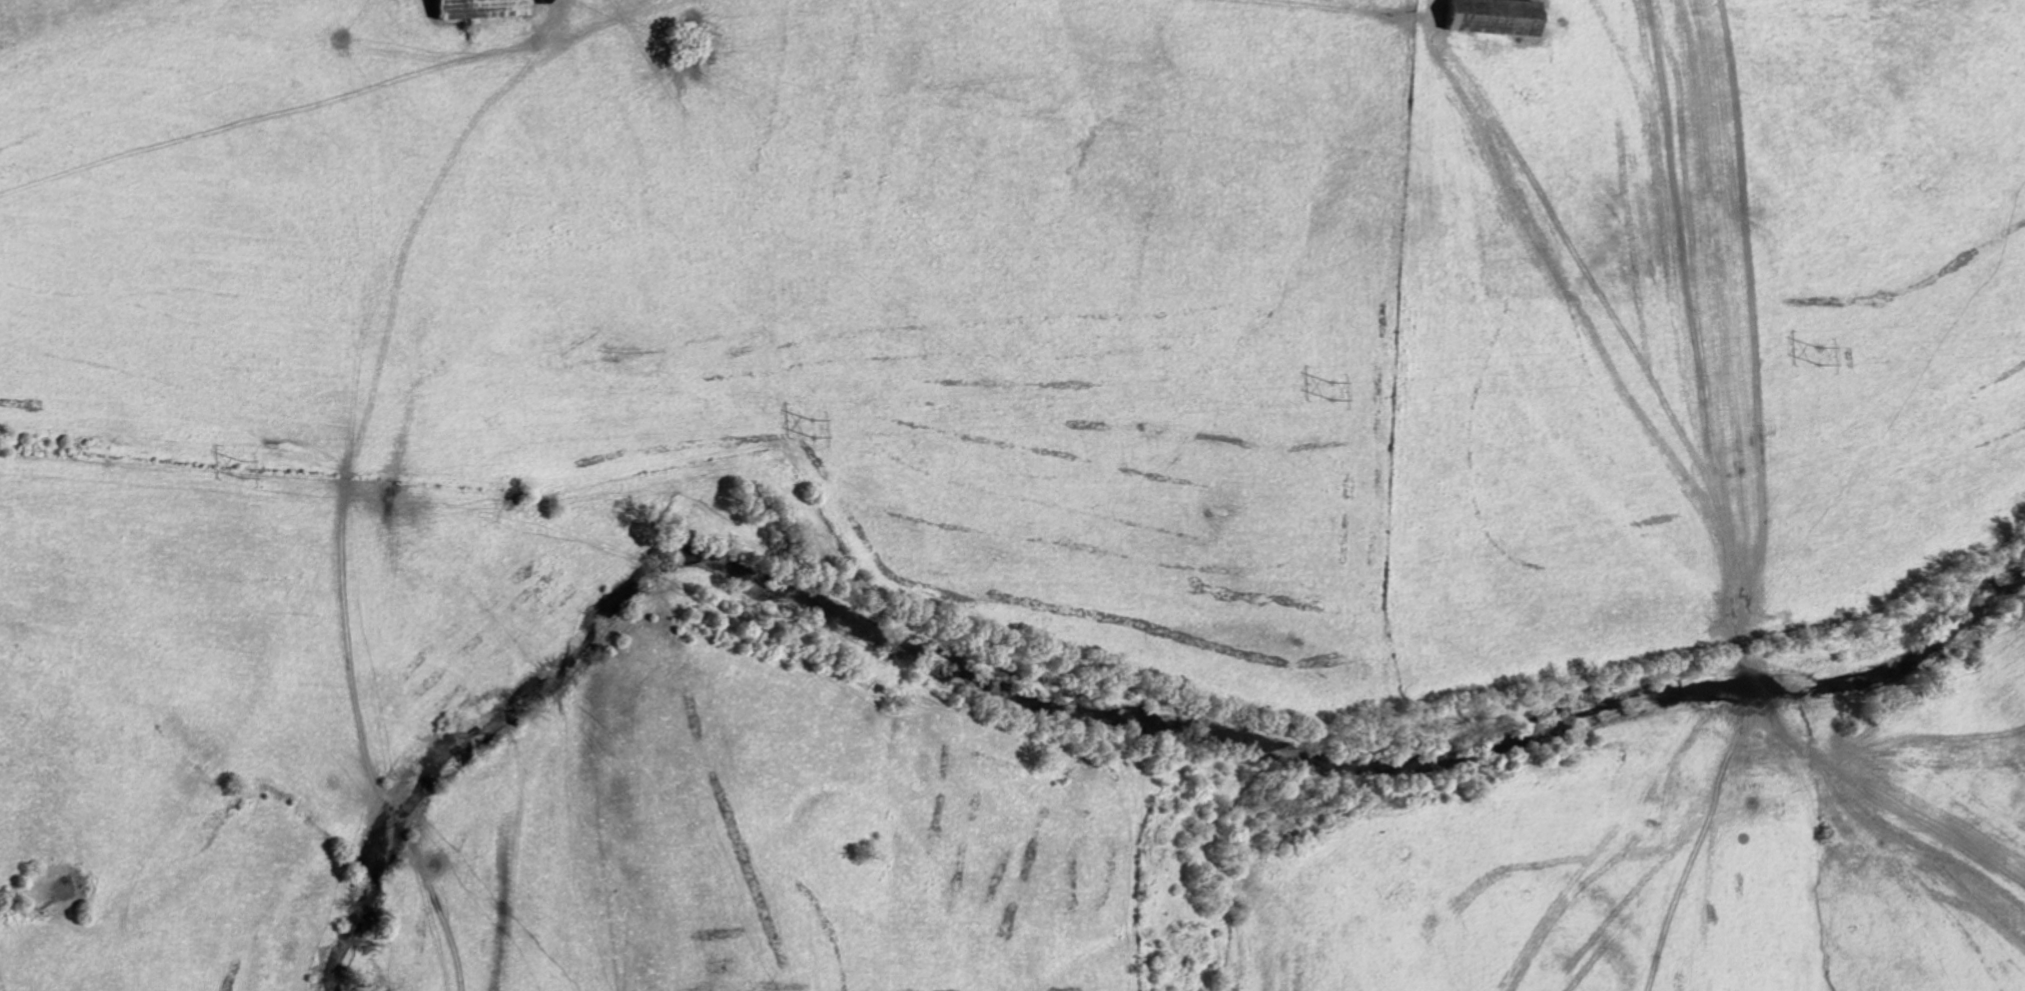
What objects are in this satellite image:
road: (524, 7)
building: (477, 8)
road: (66, 14)
power tower: (1821, 356)
power tower: (1336, 390)
power tower: (814, 431)
power tower: (242, 470)
road: (1756, 471)

